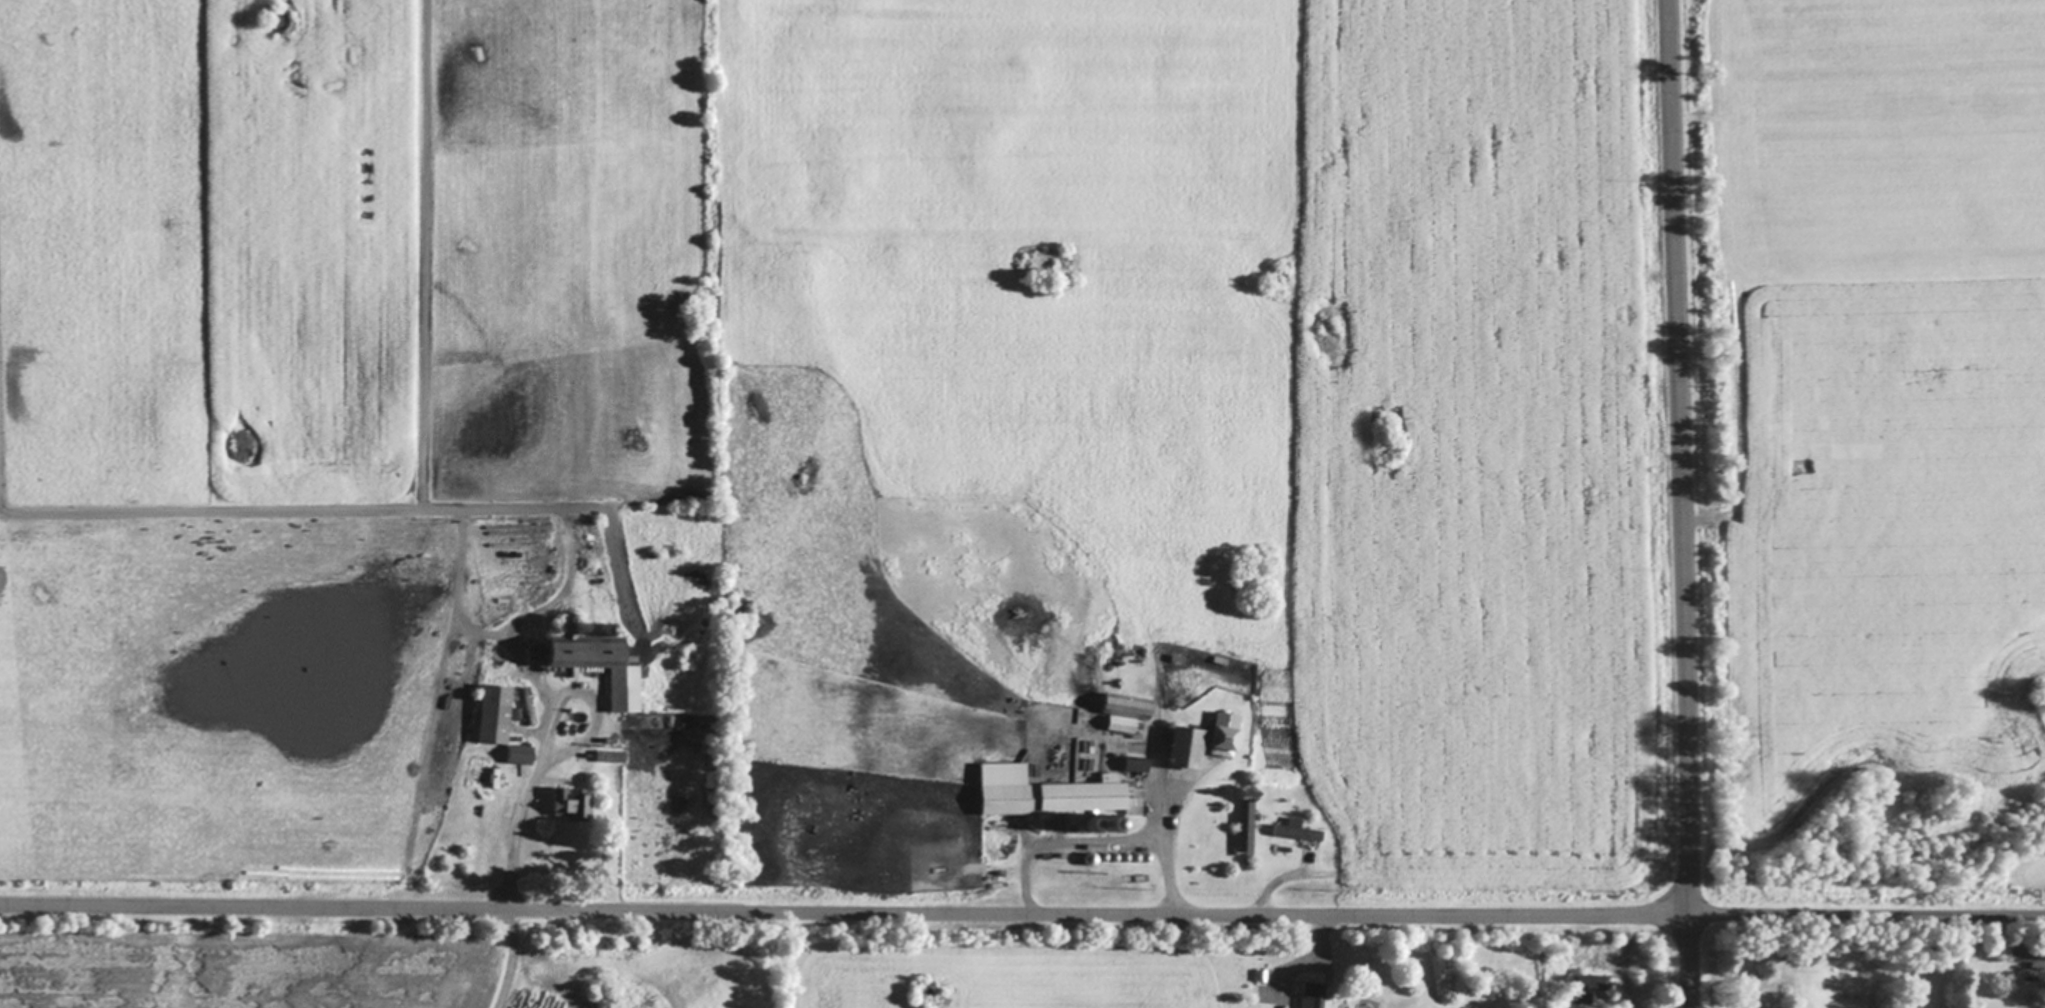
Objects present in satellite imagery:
road: (1676, 503)
building: (600, 665)
building: (1127, 712)
building: (495, 715)
building: (1226, 735)
building: (1188, 748)
building: (520, 755)
building: (1138, 765)
building: (1052, 793)
building: (572, 806)
road: (514, 830)
building: (1298, 831)
road: (1094, 841)
road: (843, 911)
road: (1866, 915)
building: (2028, 957)
building: (1591, 989)
building: (1314, 996)

